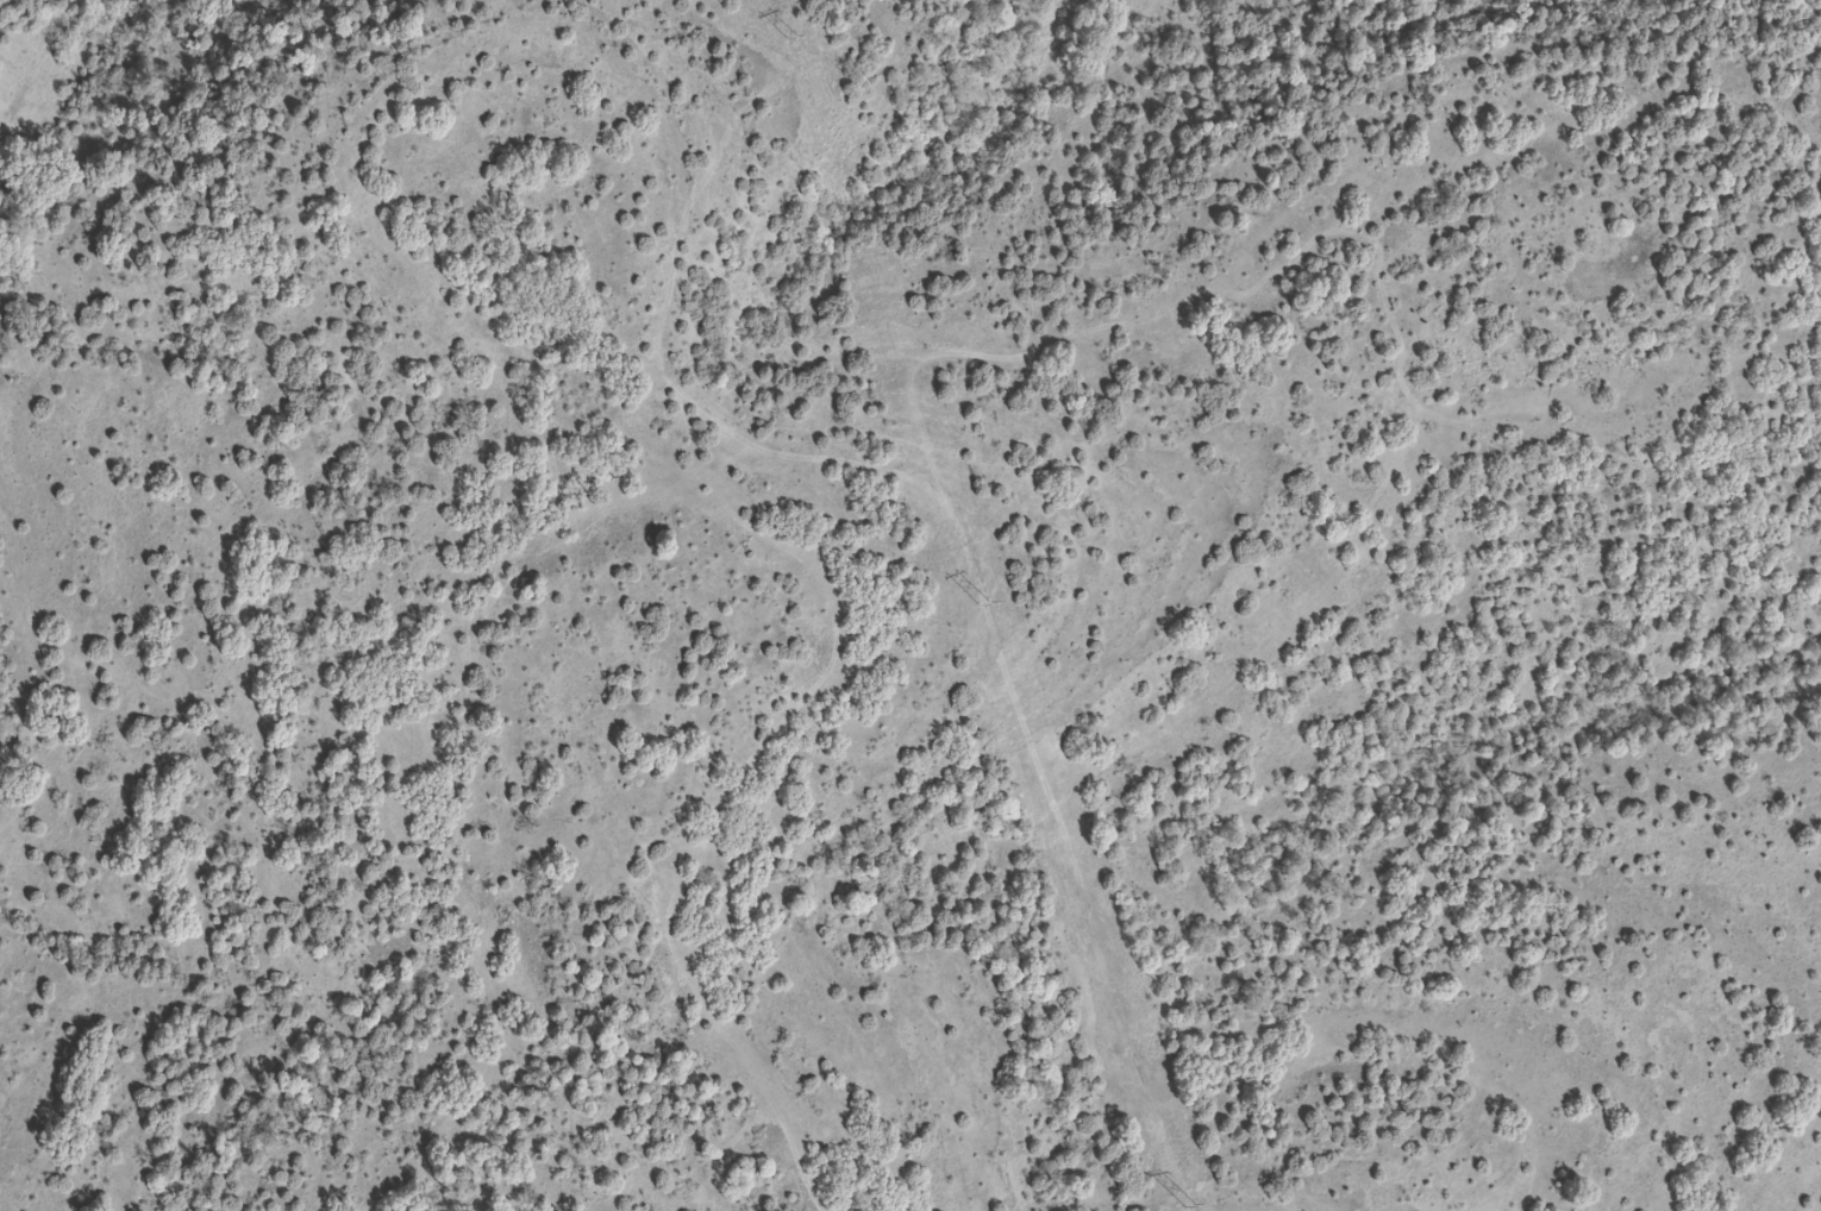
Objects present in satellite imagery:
power tower: (784, 40)
power tower: (977, 604)
power tower: (1183, 1206)

